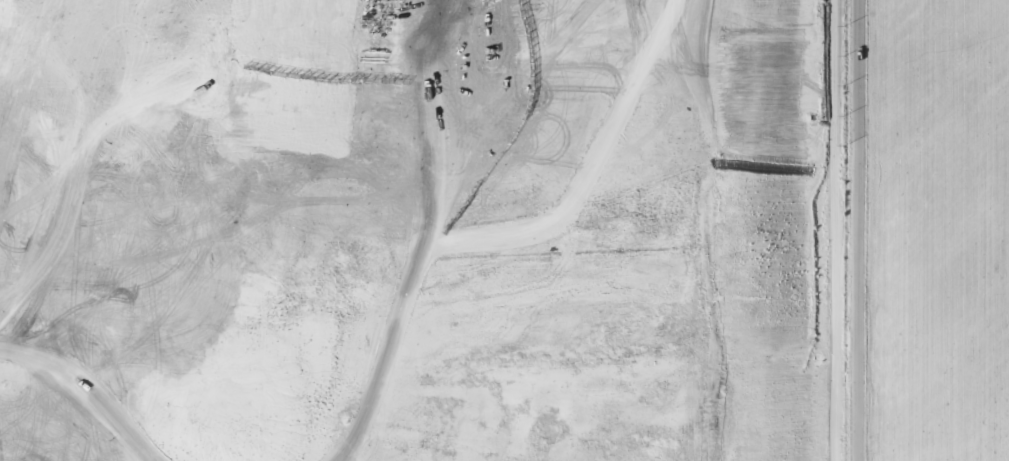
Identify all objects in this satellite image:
road: (857, 230)

